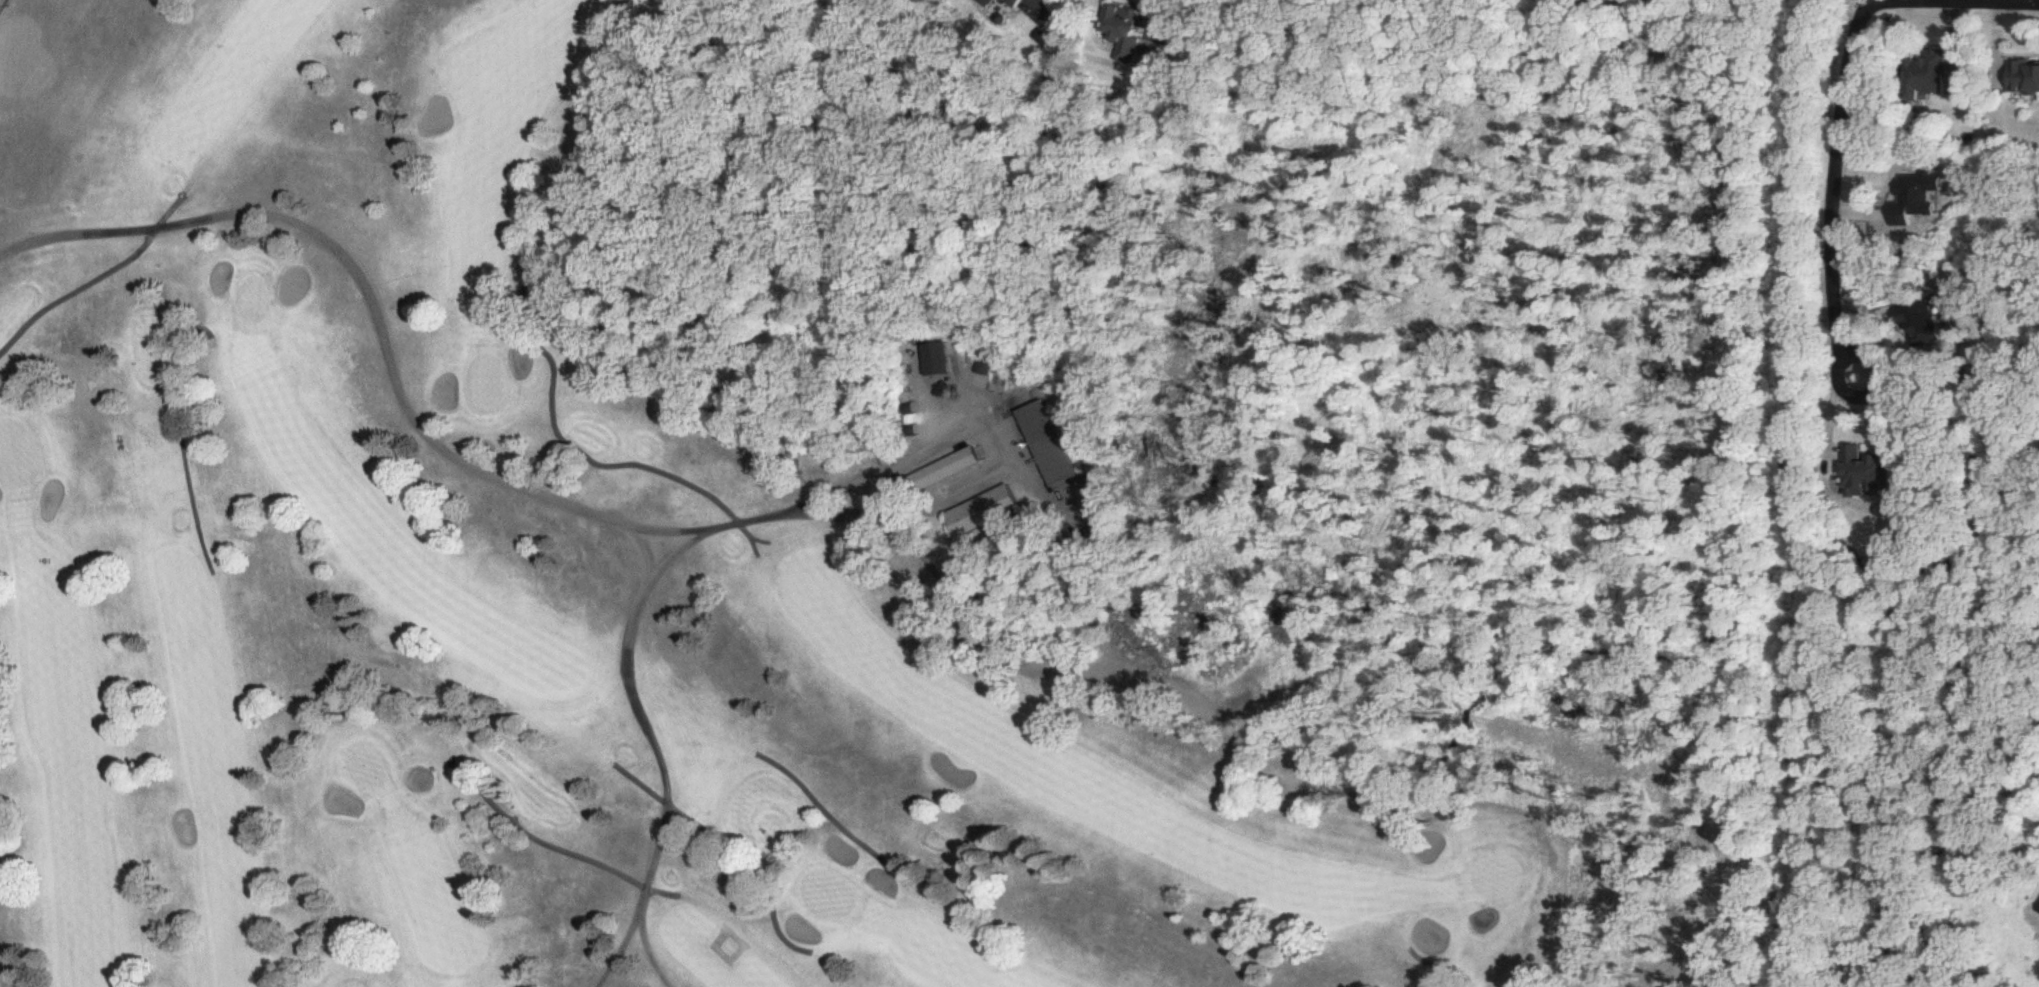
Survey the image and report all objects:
building: (986, 3)
building: (1013, 3)
road: (1862, 4)
building: (1126, 32)
building: (1929, 76)
building: (2027, 79)
road: (1833, 169)
building: (1929, 325)
building: (937, 361)
building: (1049, 445)
building: (943, 472)
building: (1871, 476)
building: (984, 512)
park: (663, 552)
building: (2038, 906)

